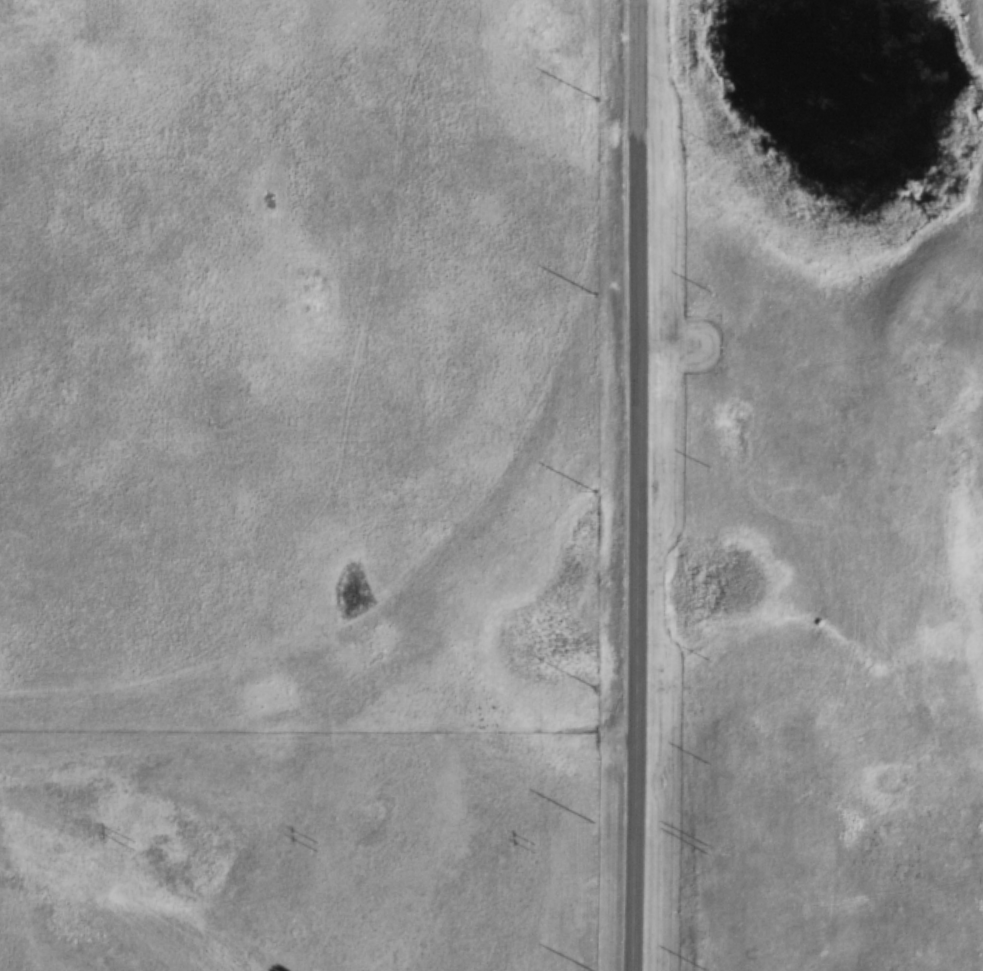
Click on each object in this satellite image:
road: (634, 413)
road: (631, 899)

